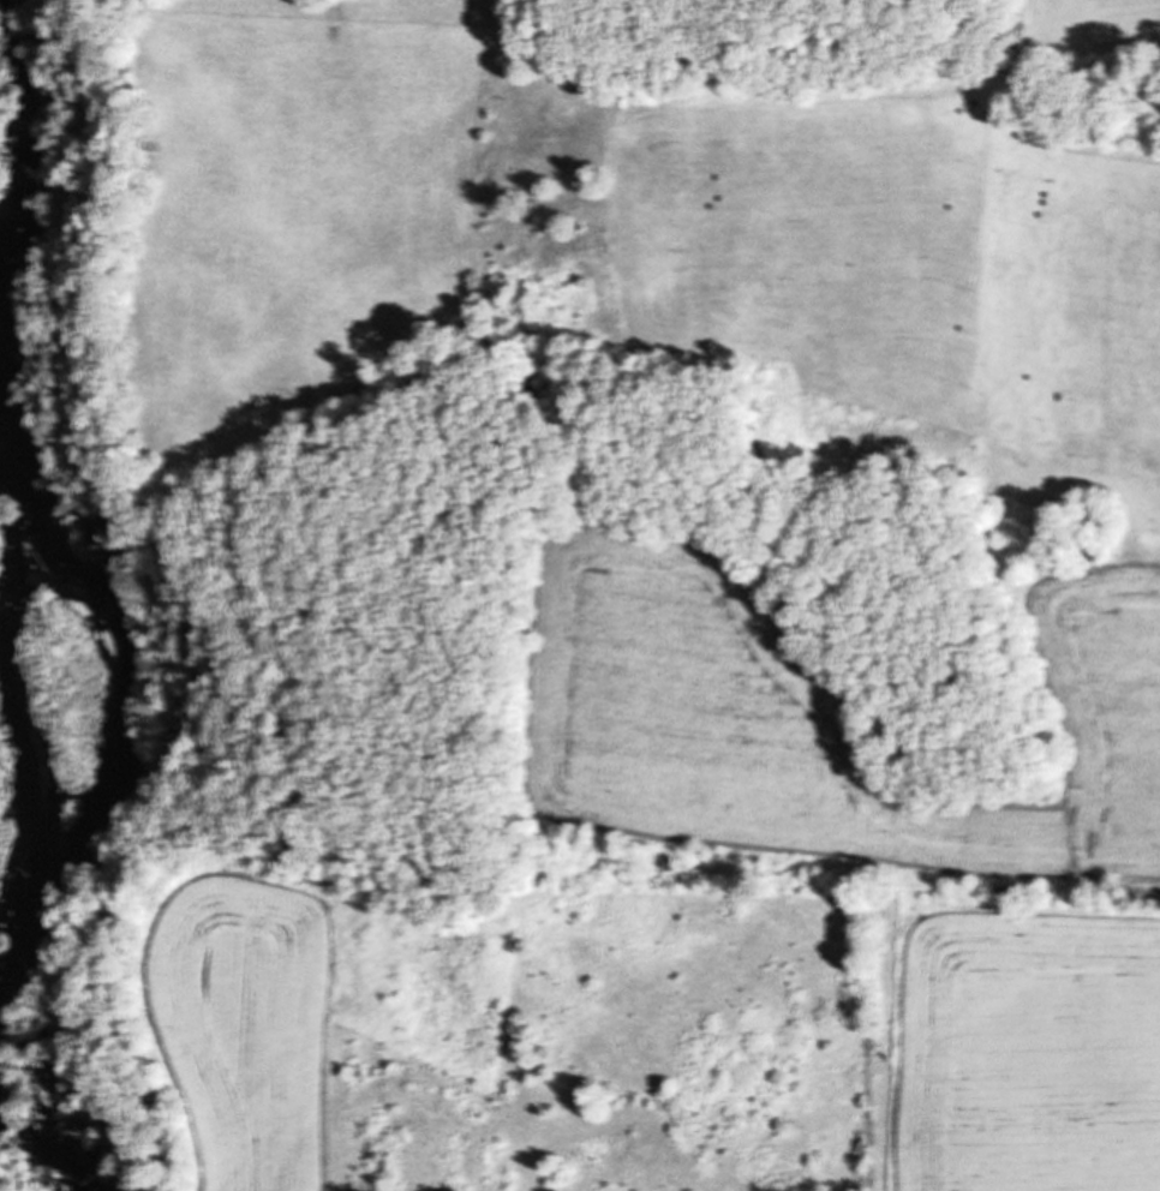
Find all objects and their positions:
river: (55, 507)
river: (36, 1131)

